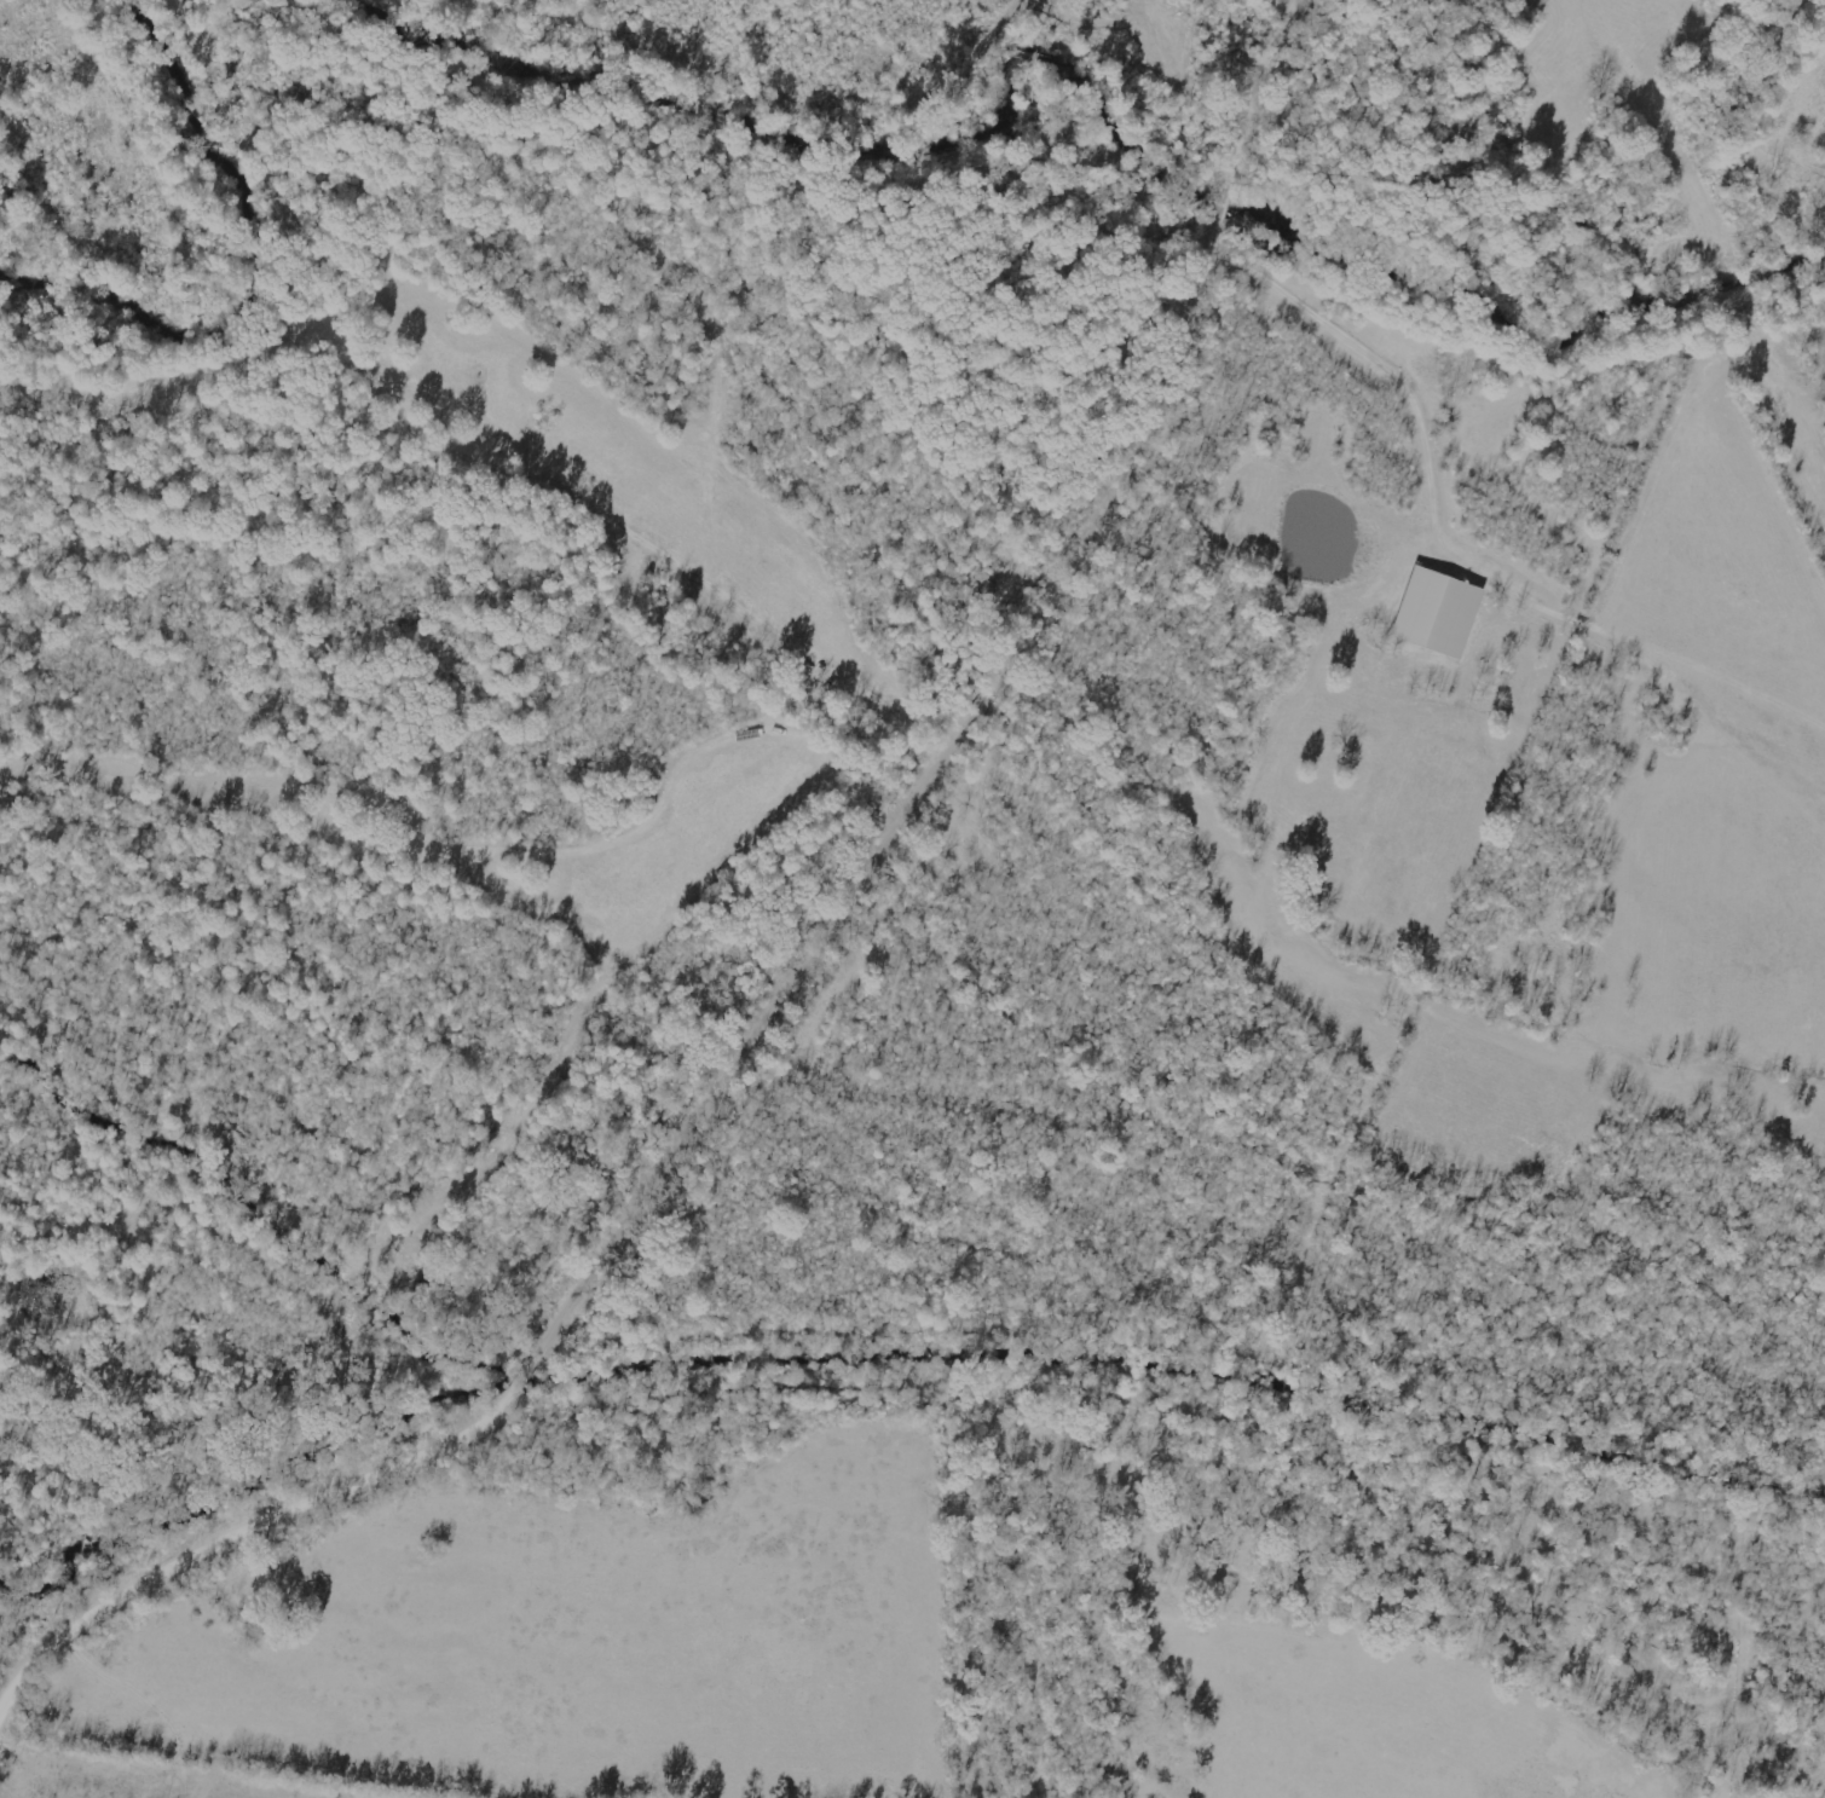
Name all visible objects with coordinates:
building: (1440, 611)
road: (801, 987)

